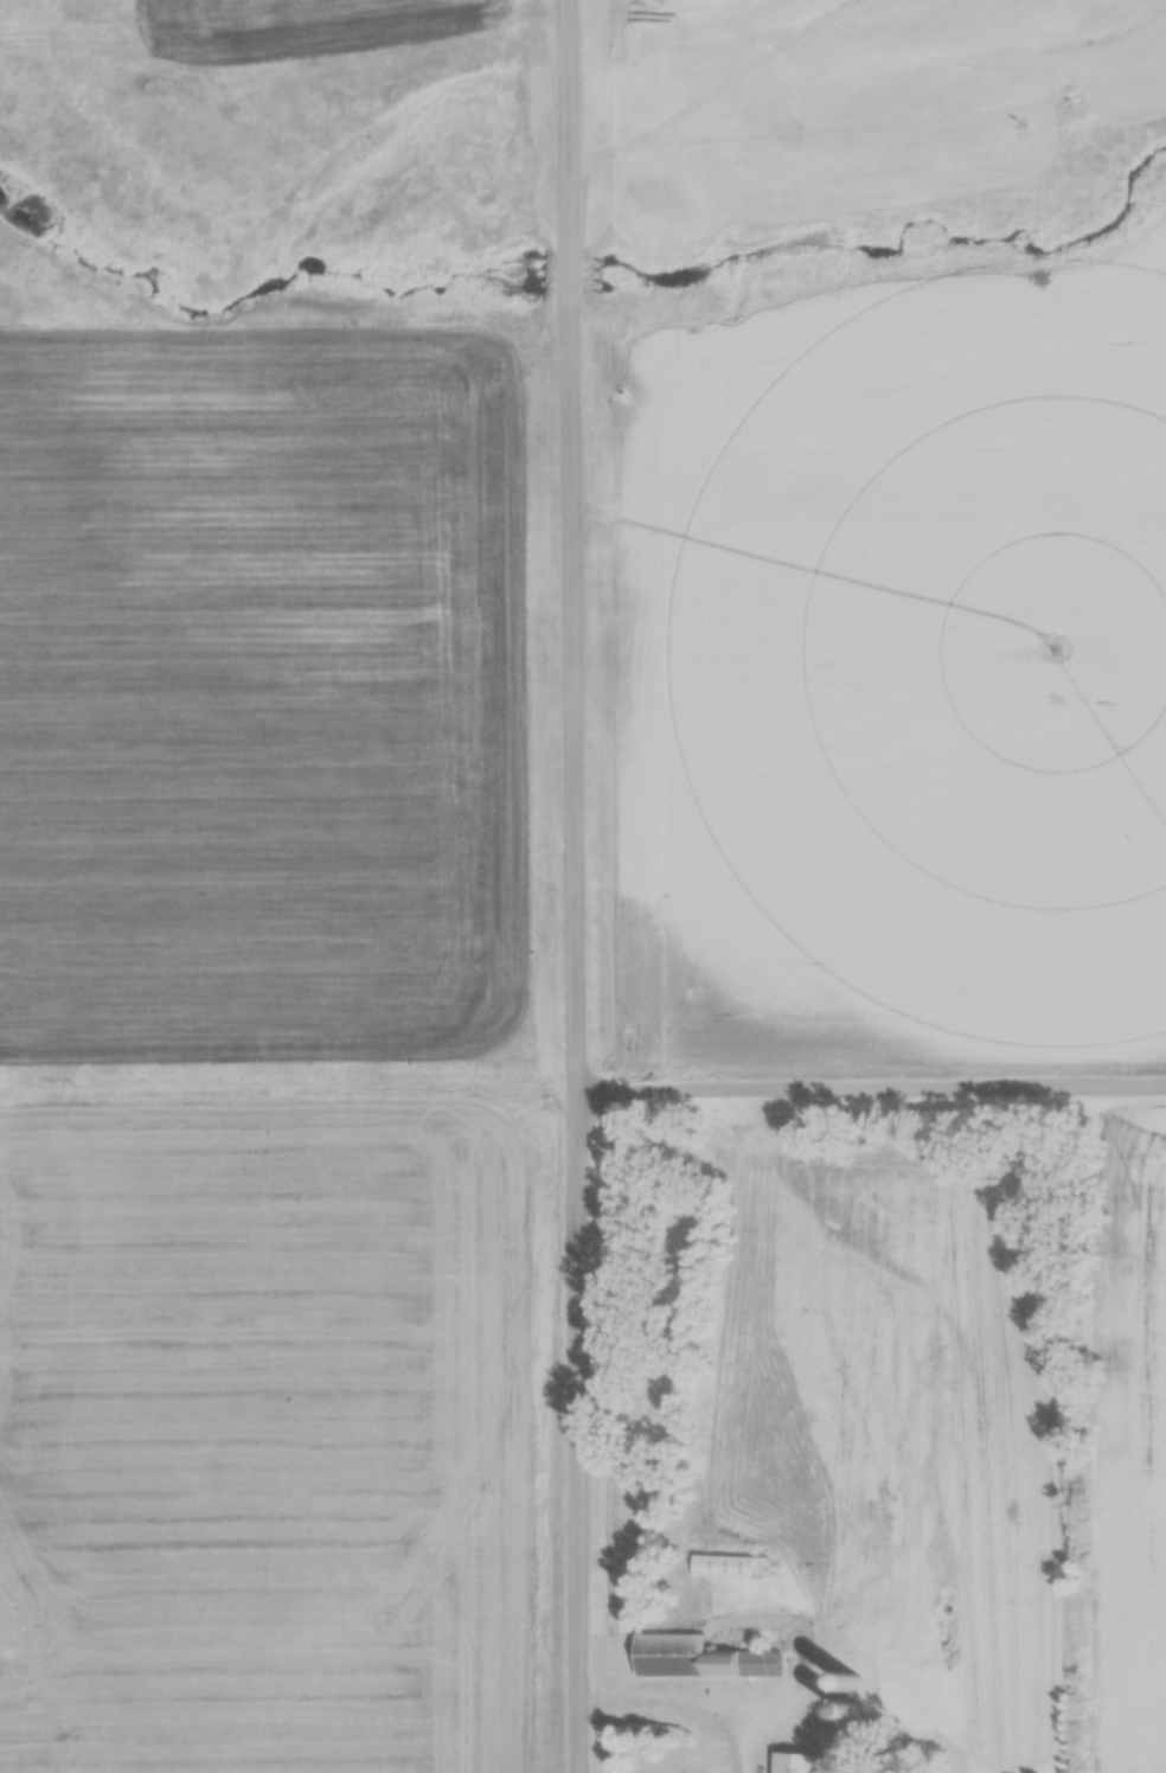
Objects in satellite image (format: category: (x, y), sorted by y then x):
road: (581, 885)
road: (873, 1093)
building: (652, 1384)
building: (722, 1568)
building: (698, 1659)
building: (795, 1764)

